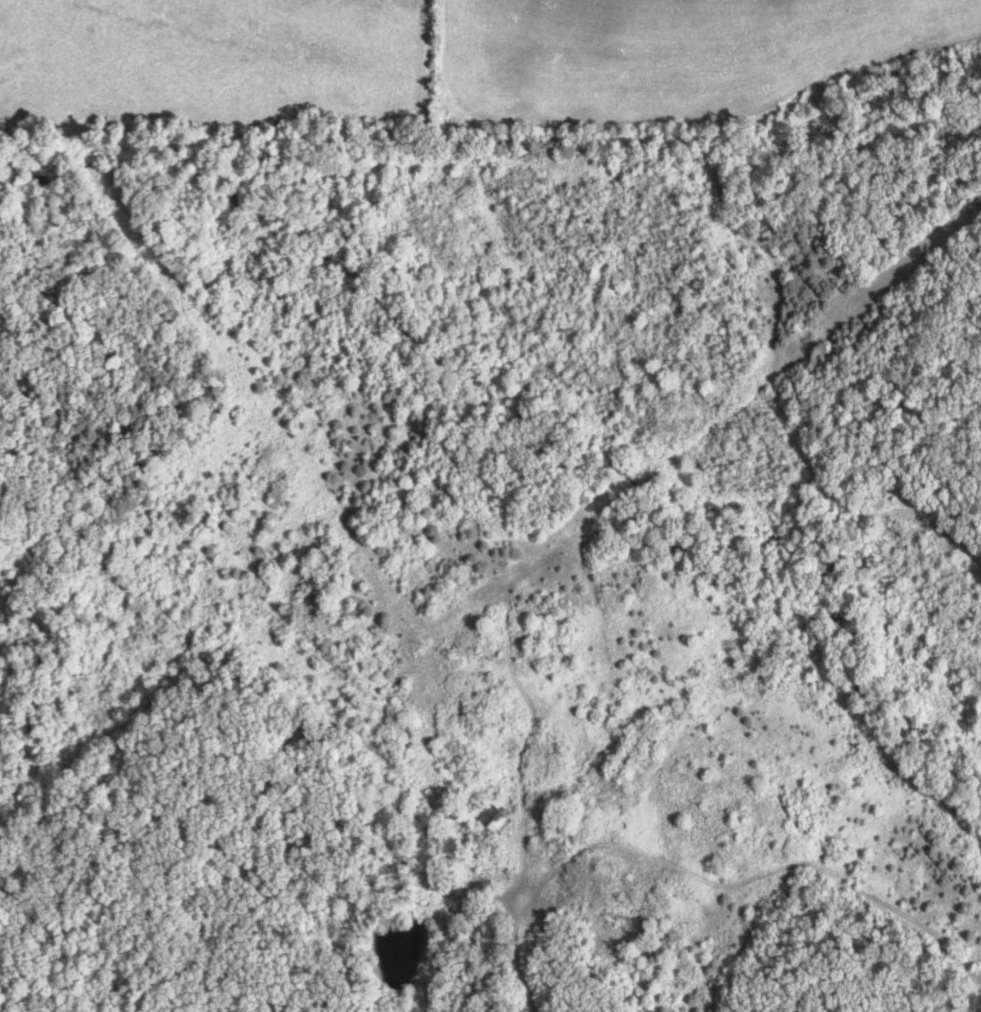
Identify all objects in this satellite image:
road: (515, 926)

